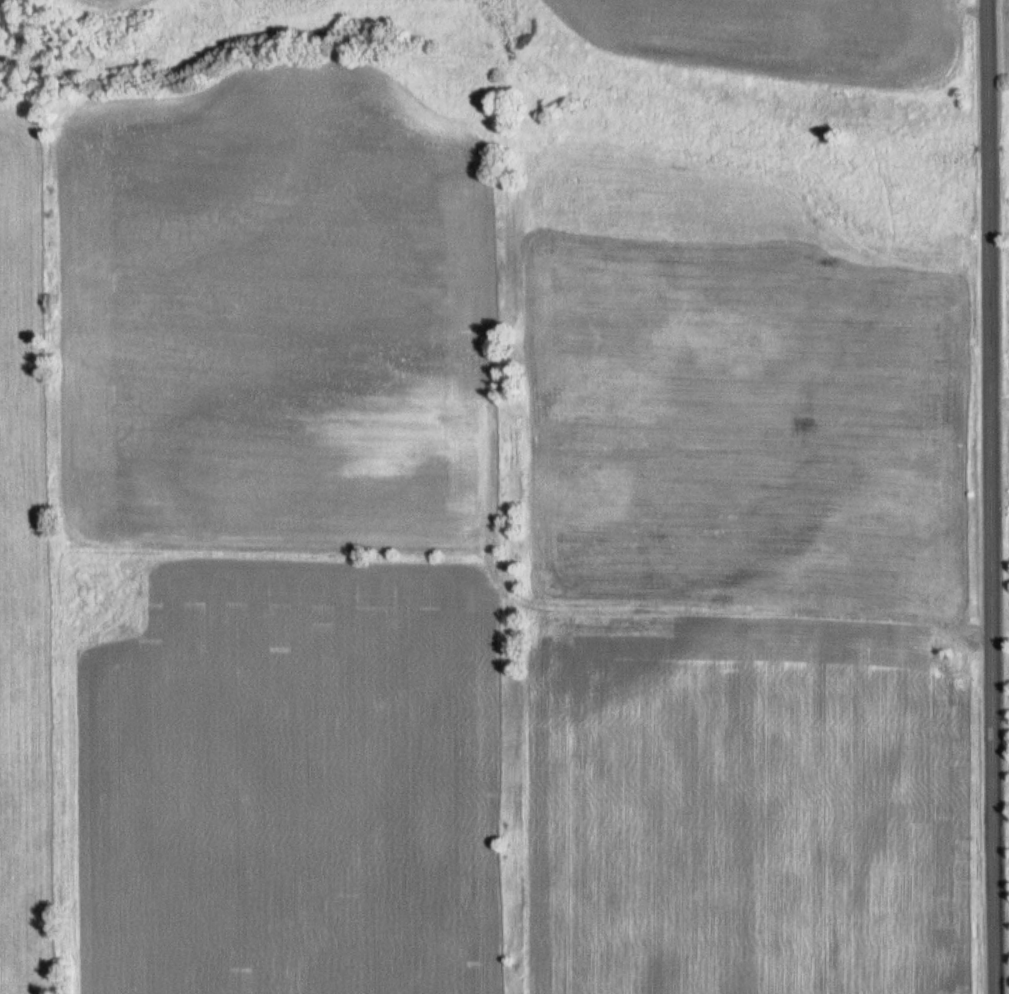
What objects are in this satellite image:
road: (995, 496)

